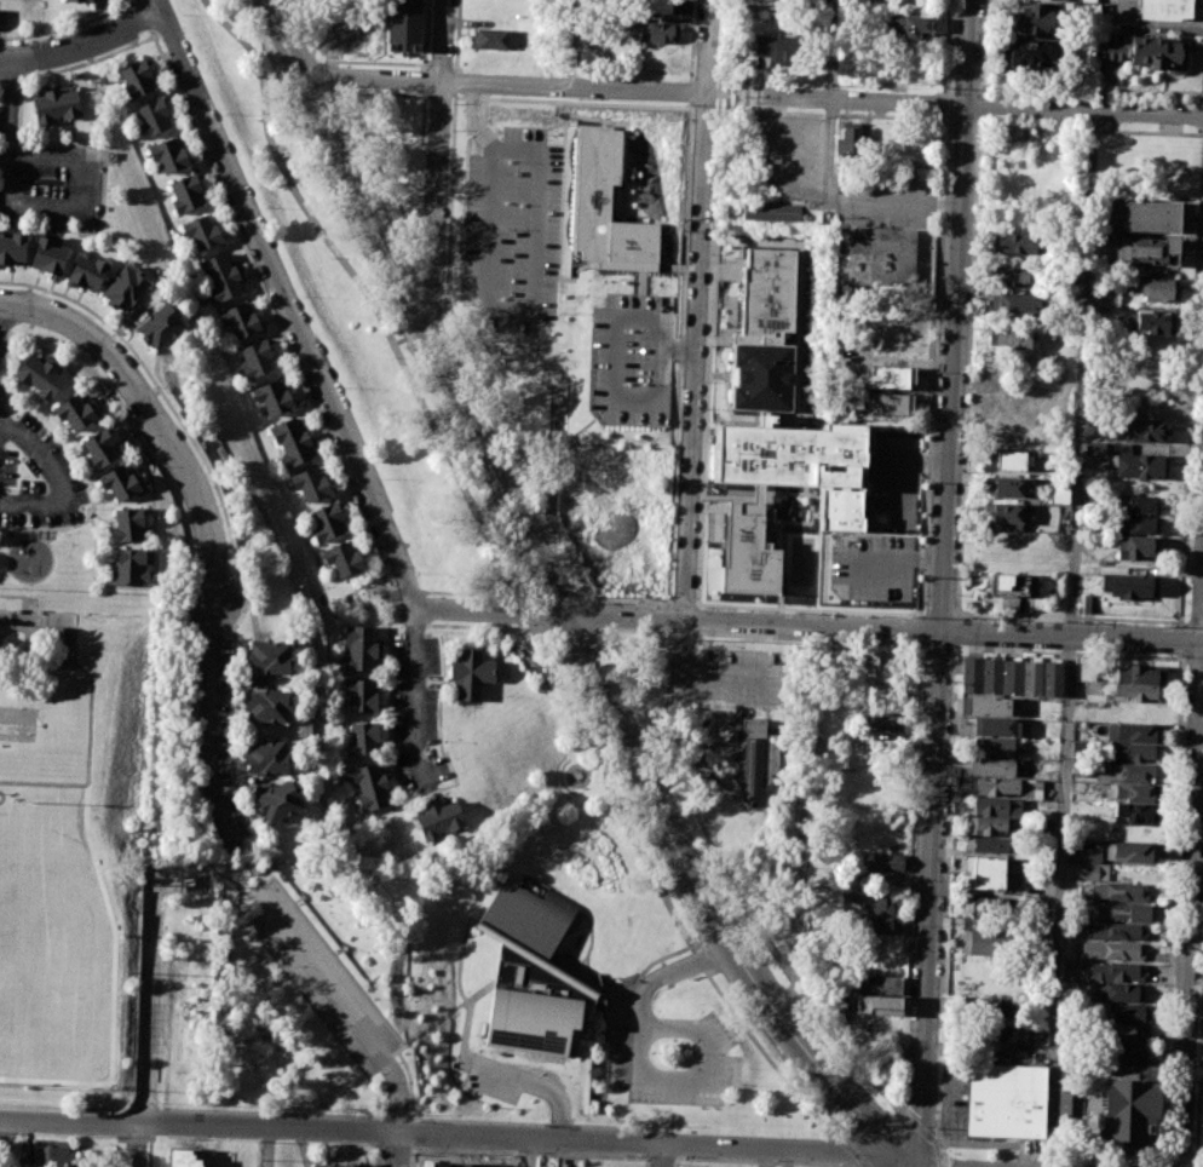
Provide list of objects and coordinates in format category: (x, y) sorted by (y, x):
building: (79, 0)
building: (810, 4)
building: (655, 6)
building: (1163, 8)
building: (1035, 17)
building: (403, 25)
building: (910, 29)
building: (658, 31)
road: (456, 35)
building: (497, 39)
road: (691, 40)
road: (443, 41)
road: (82, 42)
road: (945, 45)
road: (983, 46)
road: (707, 47)
building: (778, 48)
road: (835, 51)
building: (1144, 51)
building: (1032, 53)
road: (374, 62)
building: (137, 79)
road: (453, 81)
road: (502, 87)
road: (1092, 90)
road: (690, 91)
road: (961, 91)
road: (719, 93)
road: (453, 94)
road: (746, 94)
road: (727, 96)
road: (10, 104)
building: (56, 104)
road: (980, 108)
building: (151, 116)
road: (944, 116)
road: (945, 117)
road: (961, 119)
road: (977, 119)
road: (476, 122)
road: (1090, 128)
building: (848, 140)
building: (169, 154)
parking lot: (51, 180)
road: (836, 188)
building: (186, 191)
road: (450, 194)
road: (436, 202)
building: (605, 208)
road: (82, 209)
building: (770, 212)
building: (1142, 215)
building: (201, 231)
parking lot: (512, 232)
building: (1017, 242)
building: (12, 248)
building: (1146, 251)
building: (47, 254)
building: (879, 254)
road: (683, 265)
road: (937, 266)
building: (86, 272)
building: (223, 276)
building: (1012, 276)
building: (123, 288)
building: (1155, 289)
building: (1106, 298)
road: (286, 303)
road: (420, 303)
building: (1017, 303)
road: (526, 311)
road: (445, 312)
building: (241, 320)
building: (1150, 322)
building: (161, 324)
road: (422, 326)
building: (1013, 337)
road: (398, 340)
road: (678, 350)
road: (695, 357)
building: (257, 358)
parking lot: (629, 361)
road: (967, 364)
road: (612, 367)
building: (39, 374)
building: (883, 378)
road: (1192, 392)
building: (274, 396)
building: (890, 403)
building: (76, 410)
road: (154, 414)
road: (706, 414)
building: (1140, 431)
building: (775, 433)
building: (294, 441)
road: (549, 445)
building: (99, 448)
building: (1094, 448)
road: (922, 460)
building: (1012, 460)
road: (451, 462)
building: (1140, 466)
parking lot: (38, 477)
road: (57, 478)
parking lot: (893, 479)
building: (121, 483)
building: (310, 483)
road: (897, 483)
building: (1006, 488)
building: (1058, 491)
building: (1138, 504)
park: (616, 514)
building: (1001, 517)
building: (329, 519)
building: (127, 524)
building: (1139, 525)
building: (1135, 547)
road: (922, 556)
building: (343, 559)
road: (571, 565)
building: (131, 567)
parking lot: (871, 568)
road: (852, 575)
road: (940, 582)
building: (1013, 585)
building: (1129, 586)
road: (652, 599)
building: (1089, 603)
road: (29, 605)
road: (488, 609)
road: (938, 614)
road: (960, 614)
road: (1072, 617)
building: (6, 619)
road: (48, 619)
road: (69, 622)
road: (882, 627)
road: (1202, 628)
road: (42, 630)
road: (959, 631)
road: (1070, 639)
road: (1181, 640)
road: (959, 646)
building: (361, 648)
building: (269, 656)
road: (68, 659)
road: (1195, 659)
building: (468, 673)
building: (1140, 673)
road: (703, 676)
building: (969, 676)
parking lot: (727, 677)
building: (991, 677)
building: (1012, 677)
building: (1031, 678)
building: (1053, 679)
building: (1141, 692)
building: (361, 695)
road: (415, 700)
building: (266, 706)
building: (984, 706)
parking lot: (416, 711)
building: (1139, 712)
building: (886, 720)
park: (17, 723)
road: (212, 723)
road: (88, 725)
building: (996, 725)
building: (1133, 732)
building: (362, 738)
building: (994, 746)
building: (1080, 747)
building: (1130, 752)
building: (266, 755)
building: (754, 759)
building: (994, 766)
building: (1136, 772)
road: (951, 782)
building: (372, 784)
building: (1005, 787)
building: (1133, 793)
road: (2, 795)
building: (278, 803)
building: (997, 806)
building: (1134, 814)
building: (438, 818)
building: (989, 827)
building: (986, 844)
road: (798, 850)
building: (1132, 852)
building: (1088, 855)
park: (73, 856)
building: (883, 862)
park: (27, 870)
building: (1092, 872)
building: (990, 873)
building: (1118, 892)
building: (1144, 895)
road: (703, 898)
building: (876, 901)
road: (1190, 903)
building: (986, 904)
road: (1173, 904)
building: (1122, 912)
building: (876, 925)
street lamp: (1201, 930)
building: (1117, 932)
building: (985, 942)
building: (1112, 950)
road: (714, 954)
building: (1116, 972)
road: (323, 973)
parking lot: (321, 975)
building: (533, 975)
building: (876, 984)
building: (1118, 991)
road: (462, 994)
road: (640, 1004)
building: (982, 1005)
building: (877, 1006)
building: (1129, 1013)
park: (24, 1022)
street lamp: (1197, 1023)
building: (990, 1027)
road: (149, 1028)
road: (425, 1029)
building: (1129, 1034)
building: (1127, 1052)
road: (710, 1056)
parking lot: (718, 1059)
road: (772, 1060)
road: (409, 1082)
road: (536, 1083)
building: (1093, 1093)
road: (888, 1096)
building: (1006, 1100)
building: (1132, 1103)
building: (1069, 1108)
road: (200, 1109)
road: (397, 1119)
road: (528, 1122)
street lamp: (936, 1128)
road: (395, 1131)
road: (413, 1133)
road: (6, 1143)
street lamp: (1192, 1145)
road: (267, 1146)
road: (396, 1149)
road: (819, 1149)
road: (873, 1150)
road: (520, 1152)
road: (529, 1152)
road: (662, 1154)
building: (50, 1155)
road: (788, 1156)
building: (189, 1157)
road: (662, 1157)
road: (903, 1159)
road: (1181, 1160)
road: (646, 1162)
road: (675, 1162)
road: (772, 1162)
building: (322, 1163)
building: (345, 1165)
road: (1159, 1165)
street lamp: (858, 1166)

